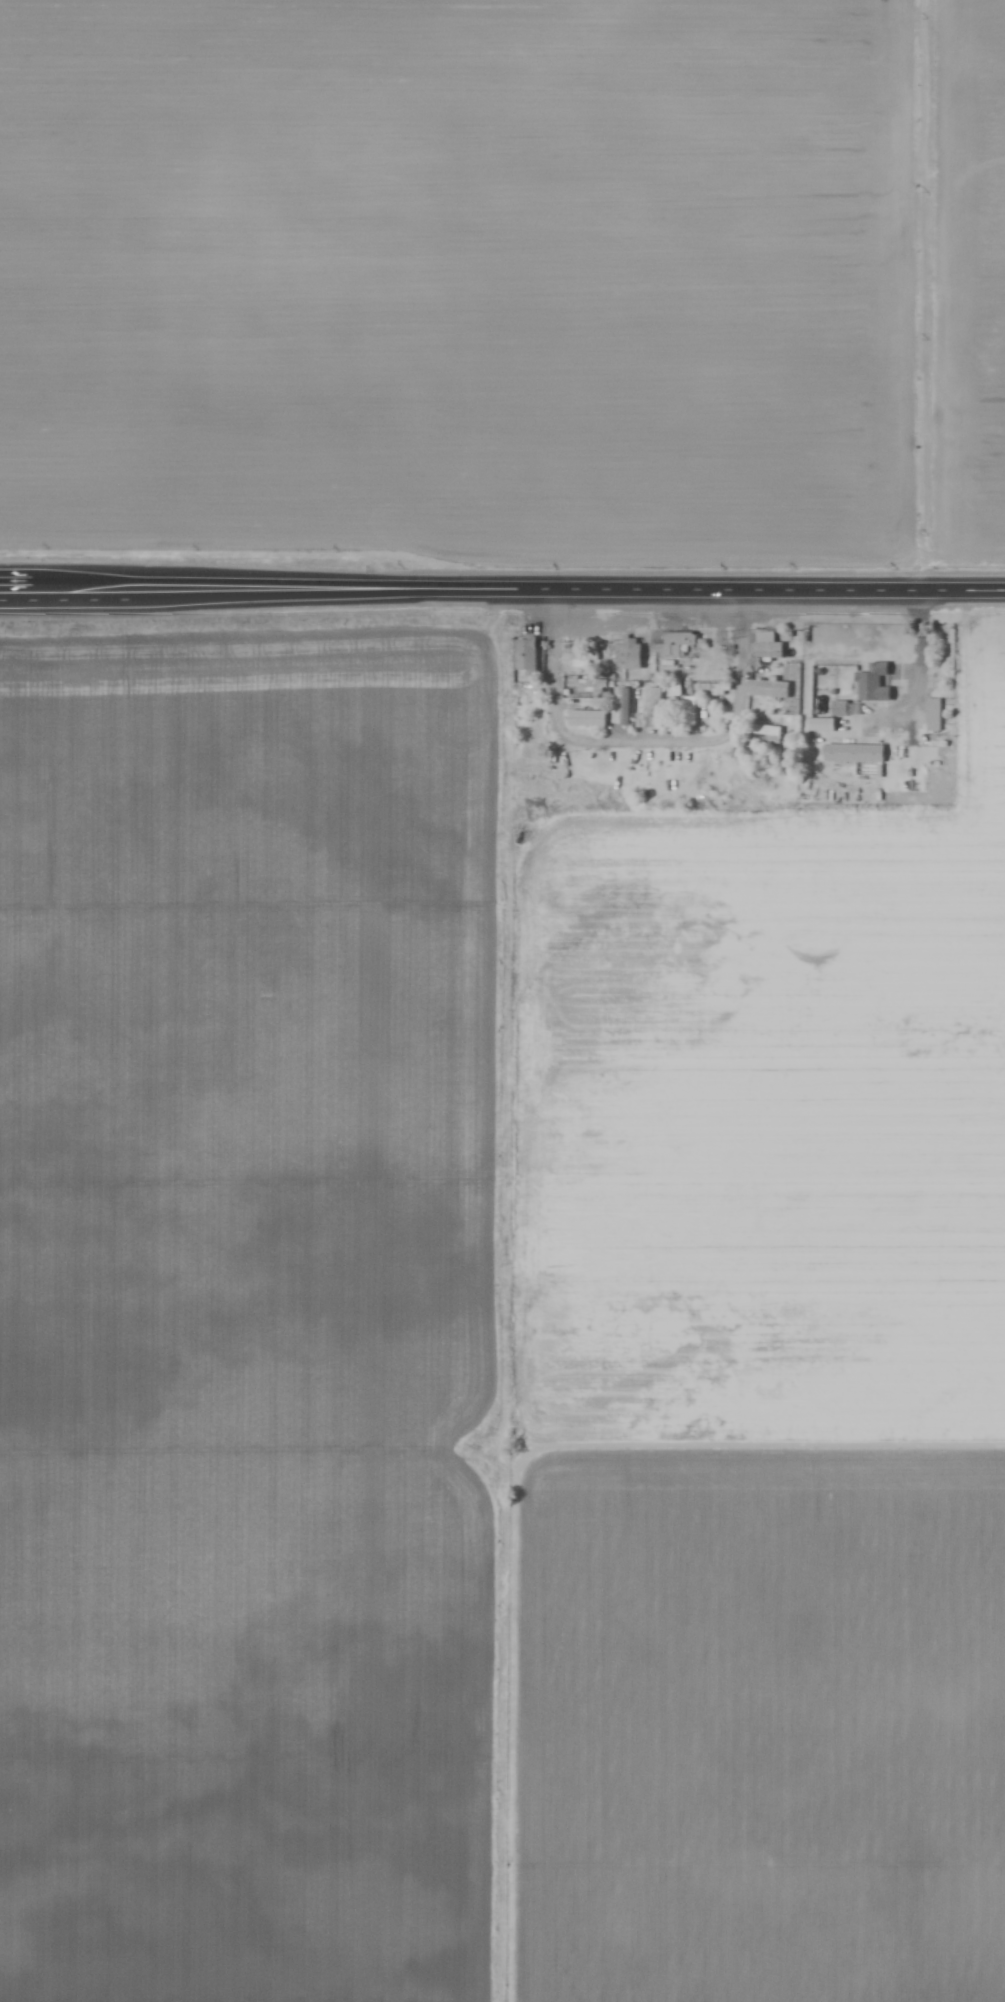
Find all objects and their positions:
road: (63, 590)
road: (565, 590)
building: (671, 645)
building: (767, 651)
building: (578, 654)
building: (627, 654)
building: (524, 656)
road: (920, 664)
building: (869, 685)
building: (585, 686)
building: (708, 689)
building: (766, 689)
building: (520, 690)
building: (620, 708)
building: (649, 708)
building: (689, 711)
building: (585, 720)
building: (762, 732)
road: (647, 737)
building: (527, 741)
building: (851, 754)

